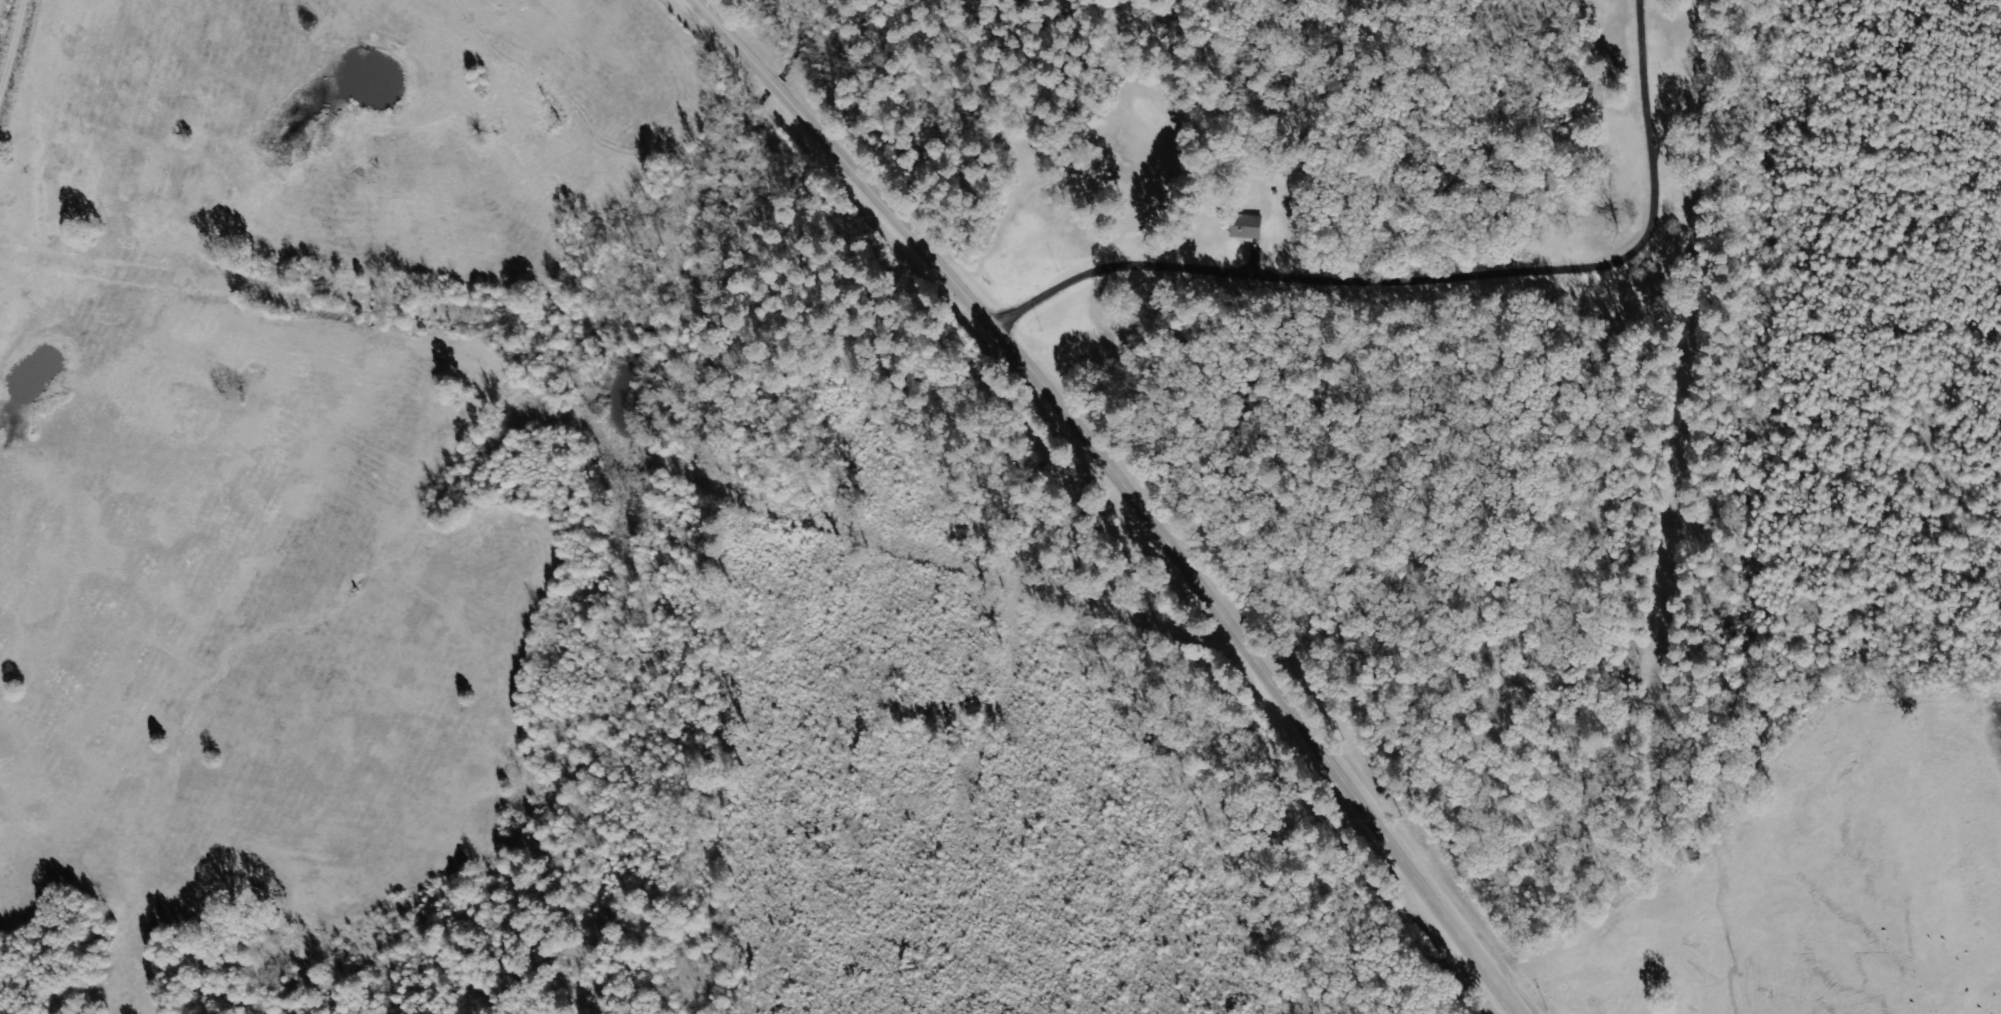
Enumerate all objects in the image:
road: (15, 50)
road: (818, 132)
building: (1254, 226)
road: (1233, 634)
road: (1717, 761)

